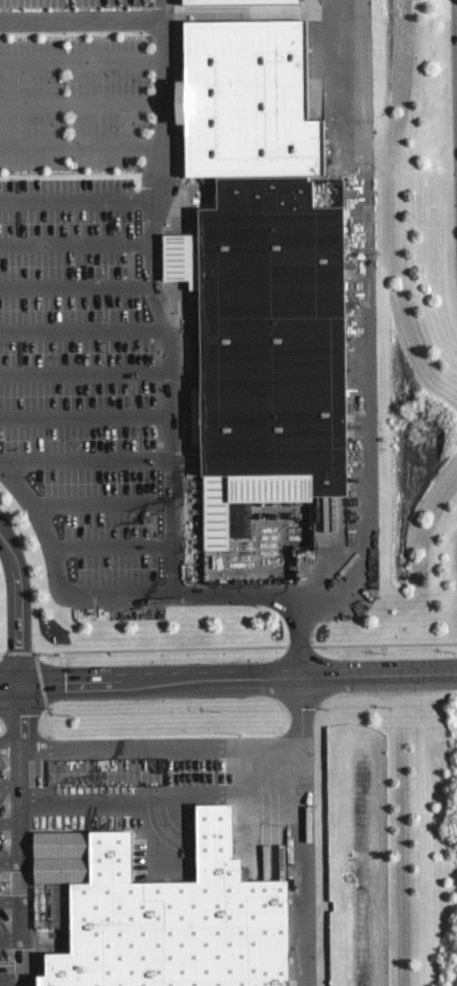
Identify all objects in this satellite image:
building: (235, 1)
road: (81, 18)
road: (455, 48)
road: (81, 59)
road: (456, 72)
building: (254, 90)
road: (164, 100)
road: (103, 101)
road: (79, 145)
road: (74, 244)
road: (75, 285)
road: (163, 321)
road: (83, 327)
building: (264, 342)
road: (365, 361)
road: (85, 372)
road: (86, 414)
road: (86, 458)
road: (103, 503)
road: (111, 542)
road: (111, 594)
road: (20, 605)
road: (228, 678)
road: (8, 741)
road: (159, 744)
road: (8, 784)
road: (159, 793)
road: (9, 822)
road: (161, 828)
road: (303, 831)
road: (18, 834)
road: (9, 860)
road: (9, 900)
building: (164, 912)
road: (10, 937)
road: (10, 976)

